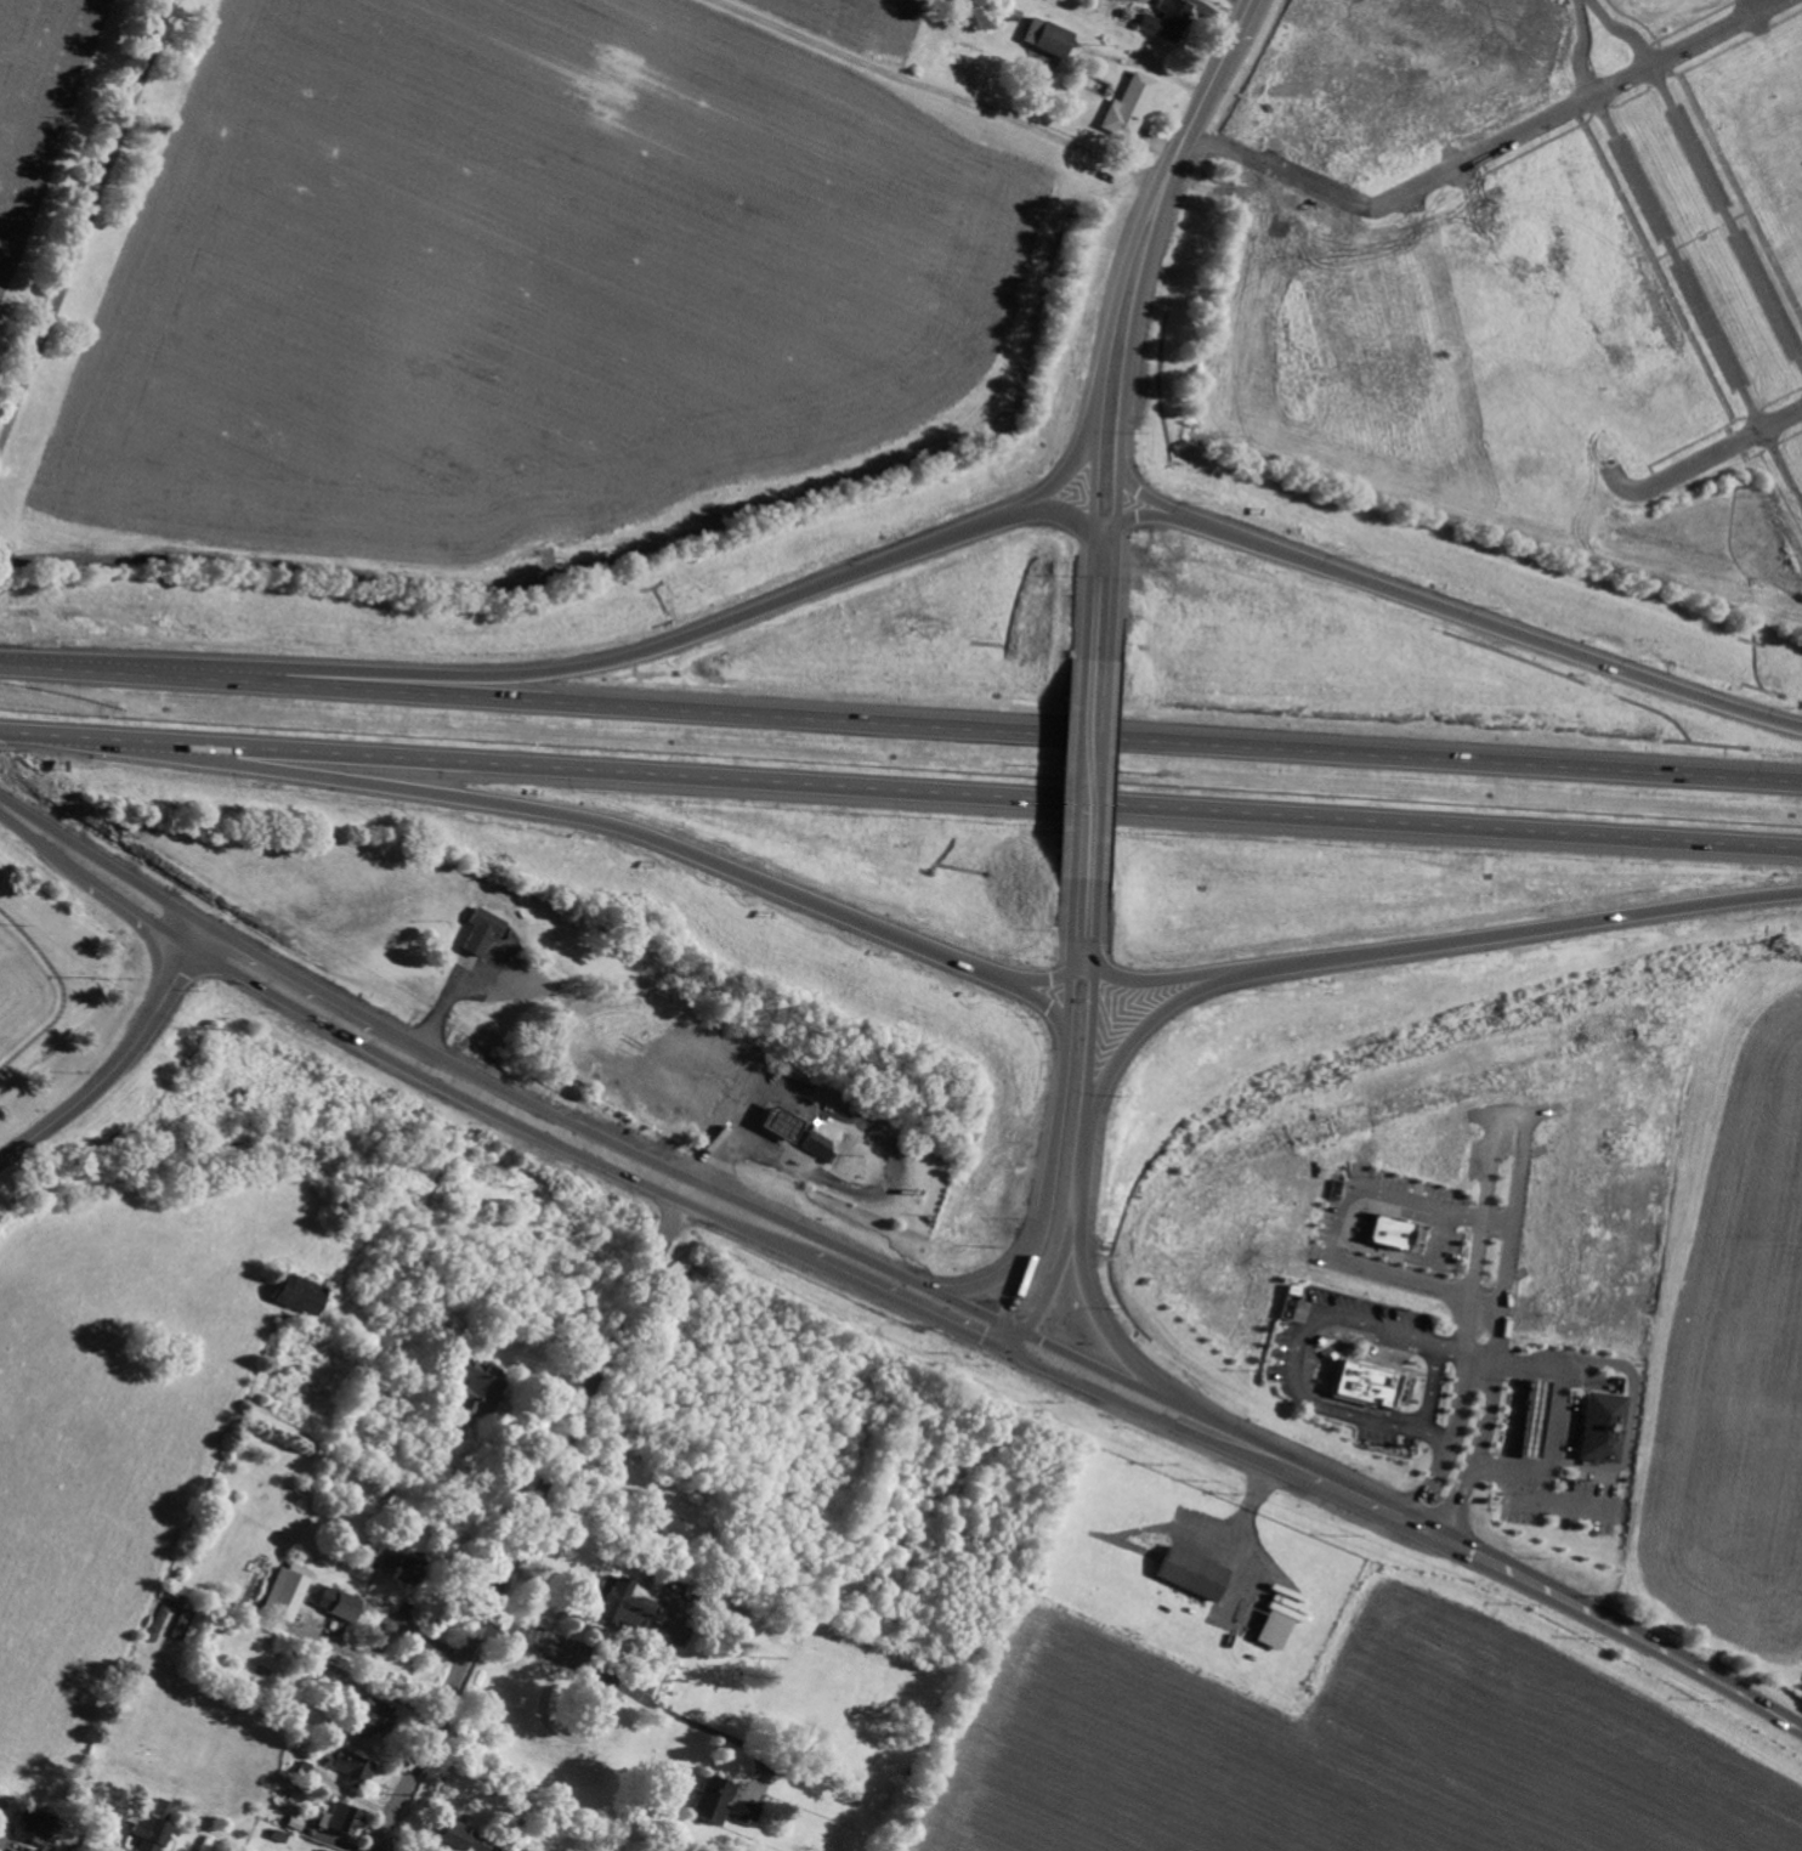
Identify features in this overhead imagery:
building: (1168, 19)
road: (1621, 30)
building: (1050, 36)
road: (1581, 47)
road: (939, 90)
road: (1574, 103)
building: (1130, 106)
road: (1725, 213)
road: (84, 220)
road: (1138, 256)
road: (1698, 298)
road: (1706, 455)
road: (1047, 514)
road: (1141, 519)
road: (1100, 598)
road: (1436, 606)
road: (631, 656)
road: (900, 719)
road: (1089, 771)
road: (901, 793)
road: (605, 825)
road: (101, 871)
building: (486, 929)
road: (1398, 946)
road: (1032, 978)
road: (1162, 979)
road: (1072, 1035)
road: (117, 1064)
road: (540, 1121)
road: (721, 1122)
building: (783, 1123)
gas station: (783, 1123)
road: (1491, 1137)
building: (815, 1142)
road: (895, 1178)
road: (1496, 1222)
building: (1389, 1232)
road: (1332, 1244)
road: (1047, 1266)
road: (999, 1277)
building: (302, 1294)
road: (951, 1312)
road: (1111, 1334)
traffic signals: (1013, 1341)
road: (1451, 1348)
road: (1294, 1368)
building: (1366, 1382)
building: (476, 1388)
road: (1430, 1388)
road: (1632, 1416)
building: (1534, 1420)
gas station: (1534, 1420)
road: (1548, 1421)
building: (1604, 1427)
road: (1479, 1449)
road: (1434, 1476)
road: (1555, 1501)
road: (528, 1519)
road: (1427, 1523)
building: (665, 1524)
road: (1411, 1525)
building: (402, 1562)
building: (1191, 1574)
building: (289, 1591)
building: (335, 1601)
building: (625, 1602)
building: (186, 1623)
building: (1275, 1630)
road: (600, 1675)
building: (374, 1717)
road: (709, 1728)
building: (350, 1765)
building: (724, 1802)
building: (345, 1819)
building: (154, 1825)
building: (34, 1827)
building: (466, 1838)
building: (324, 1850)

